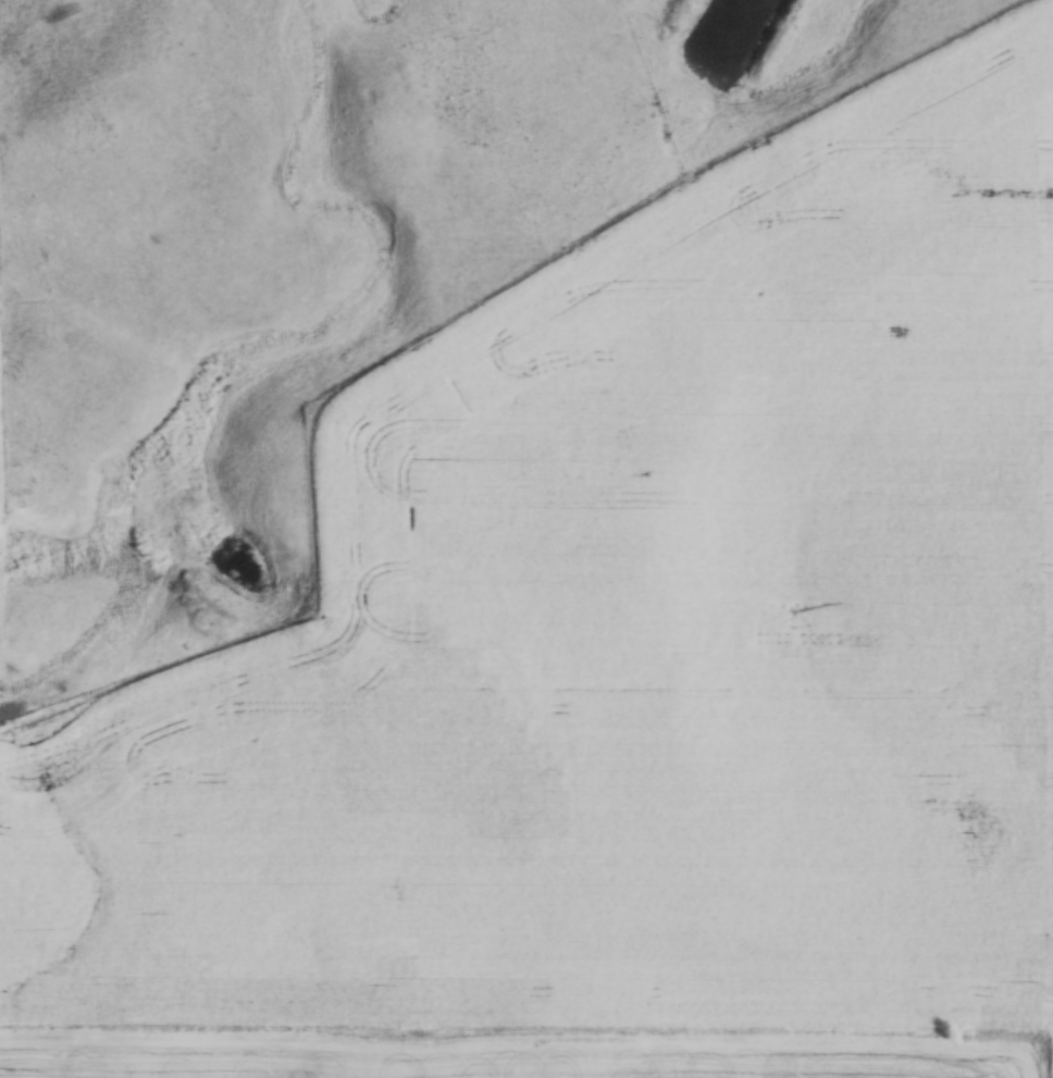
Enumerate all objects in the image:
river: (739, 45)

